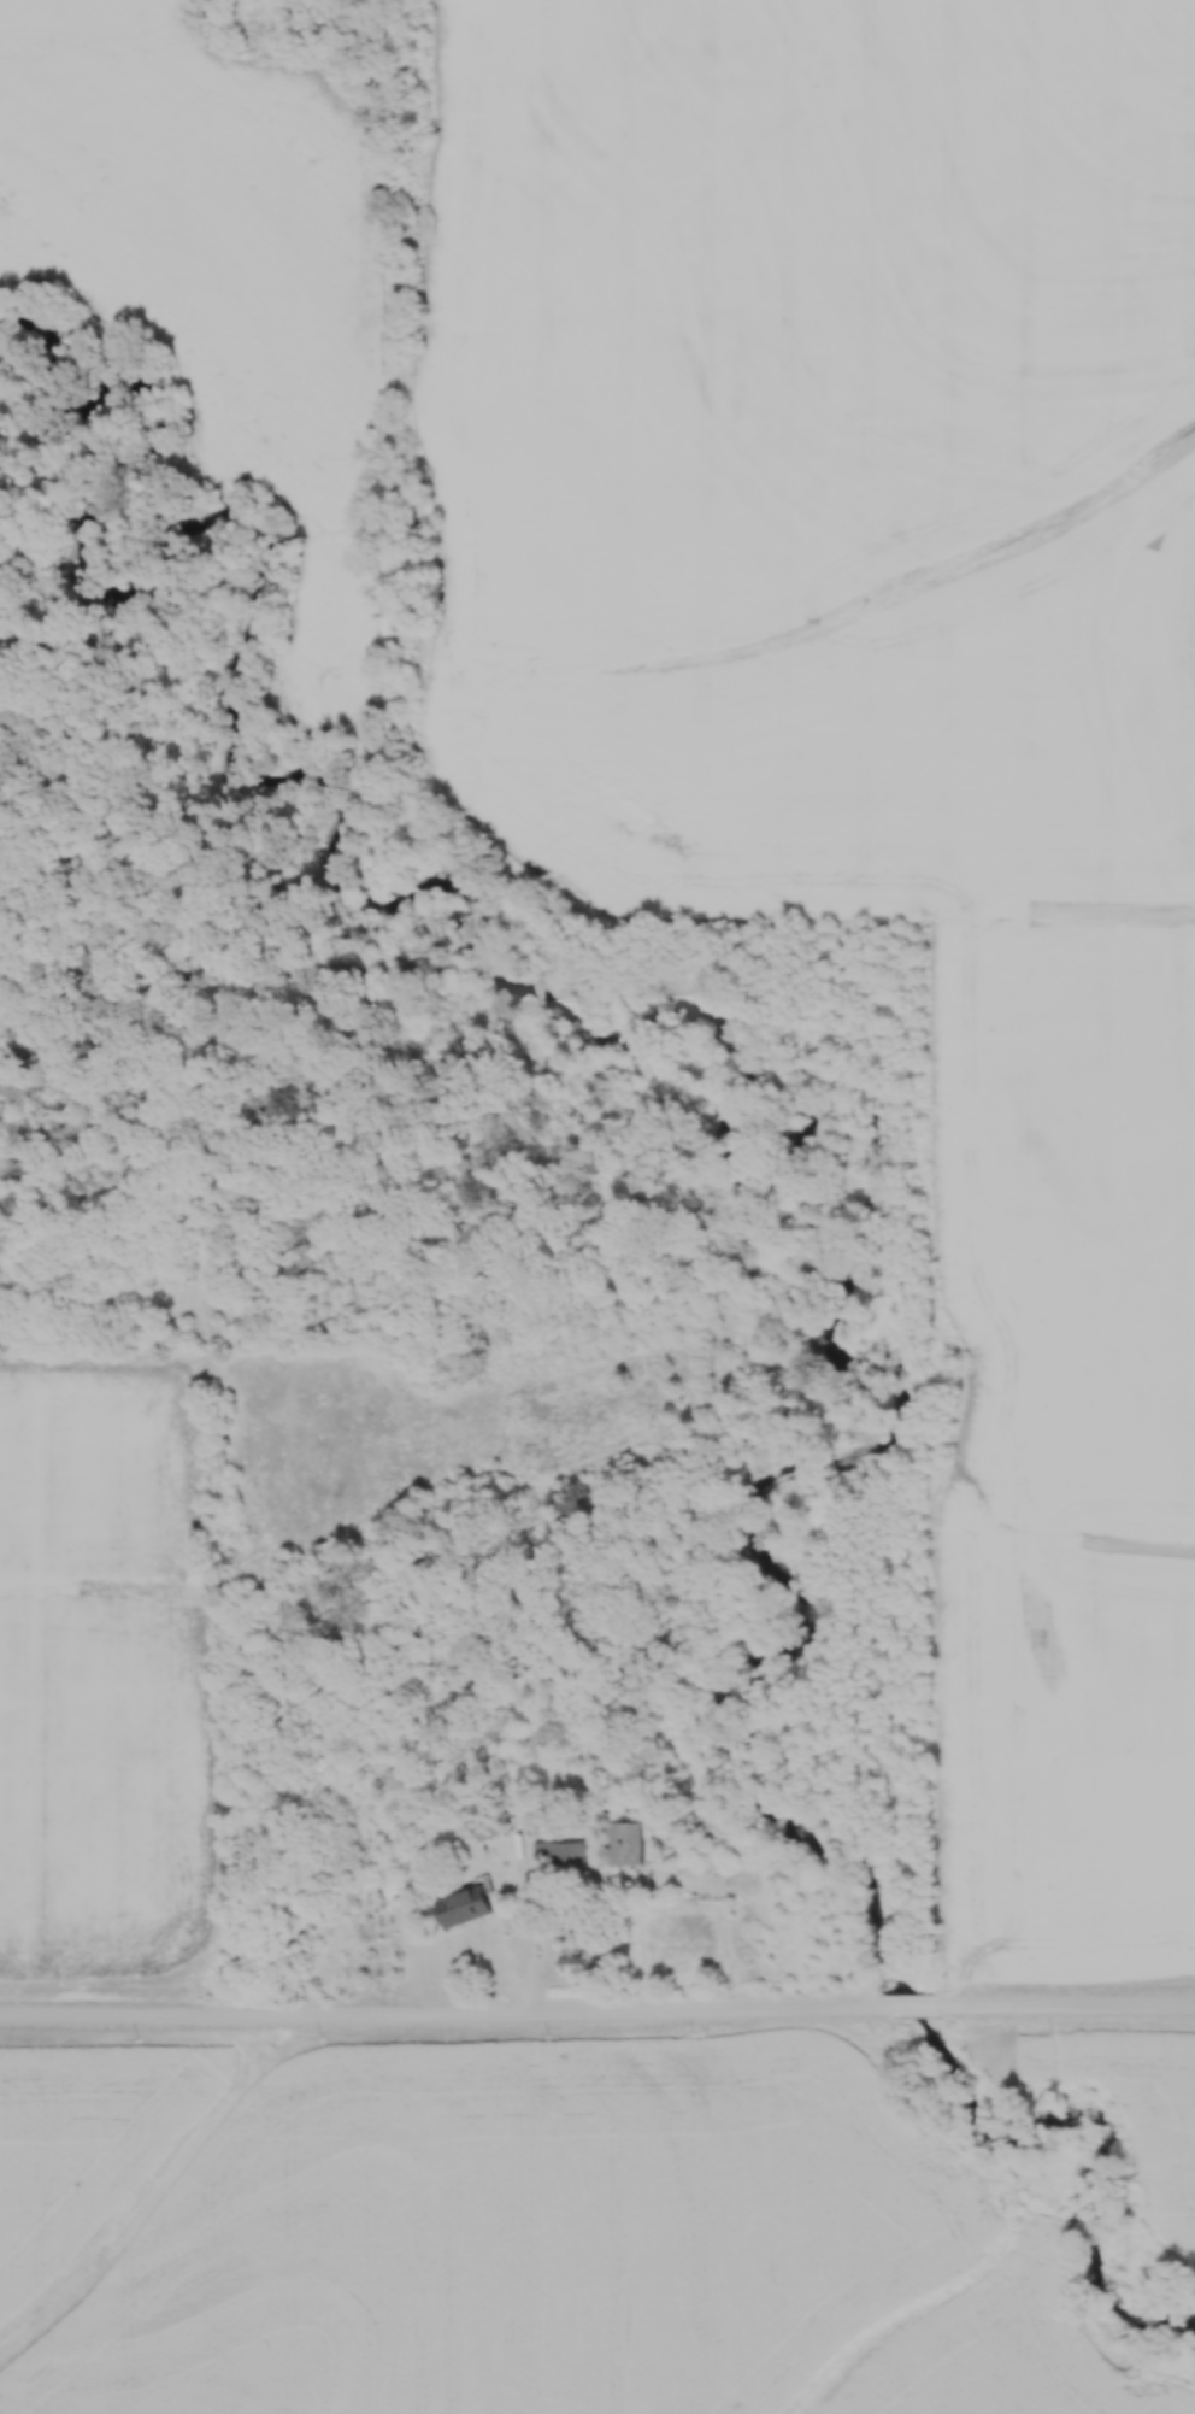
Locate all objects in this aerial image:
river: (723, 1109)
building: (626, 1844)
building: (558, 1854)
building: (463, 1907)
road: (917, 2007)
road: (1070, 2007)
road: (445, 2016)

